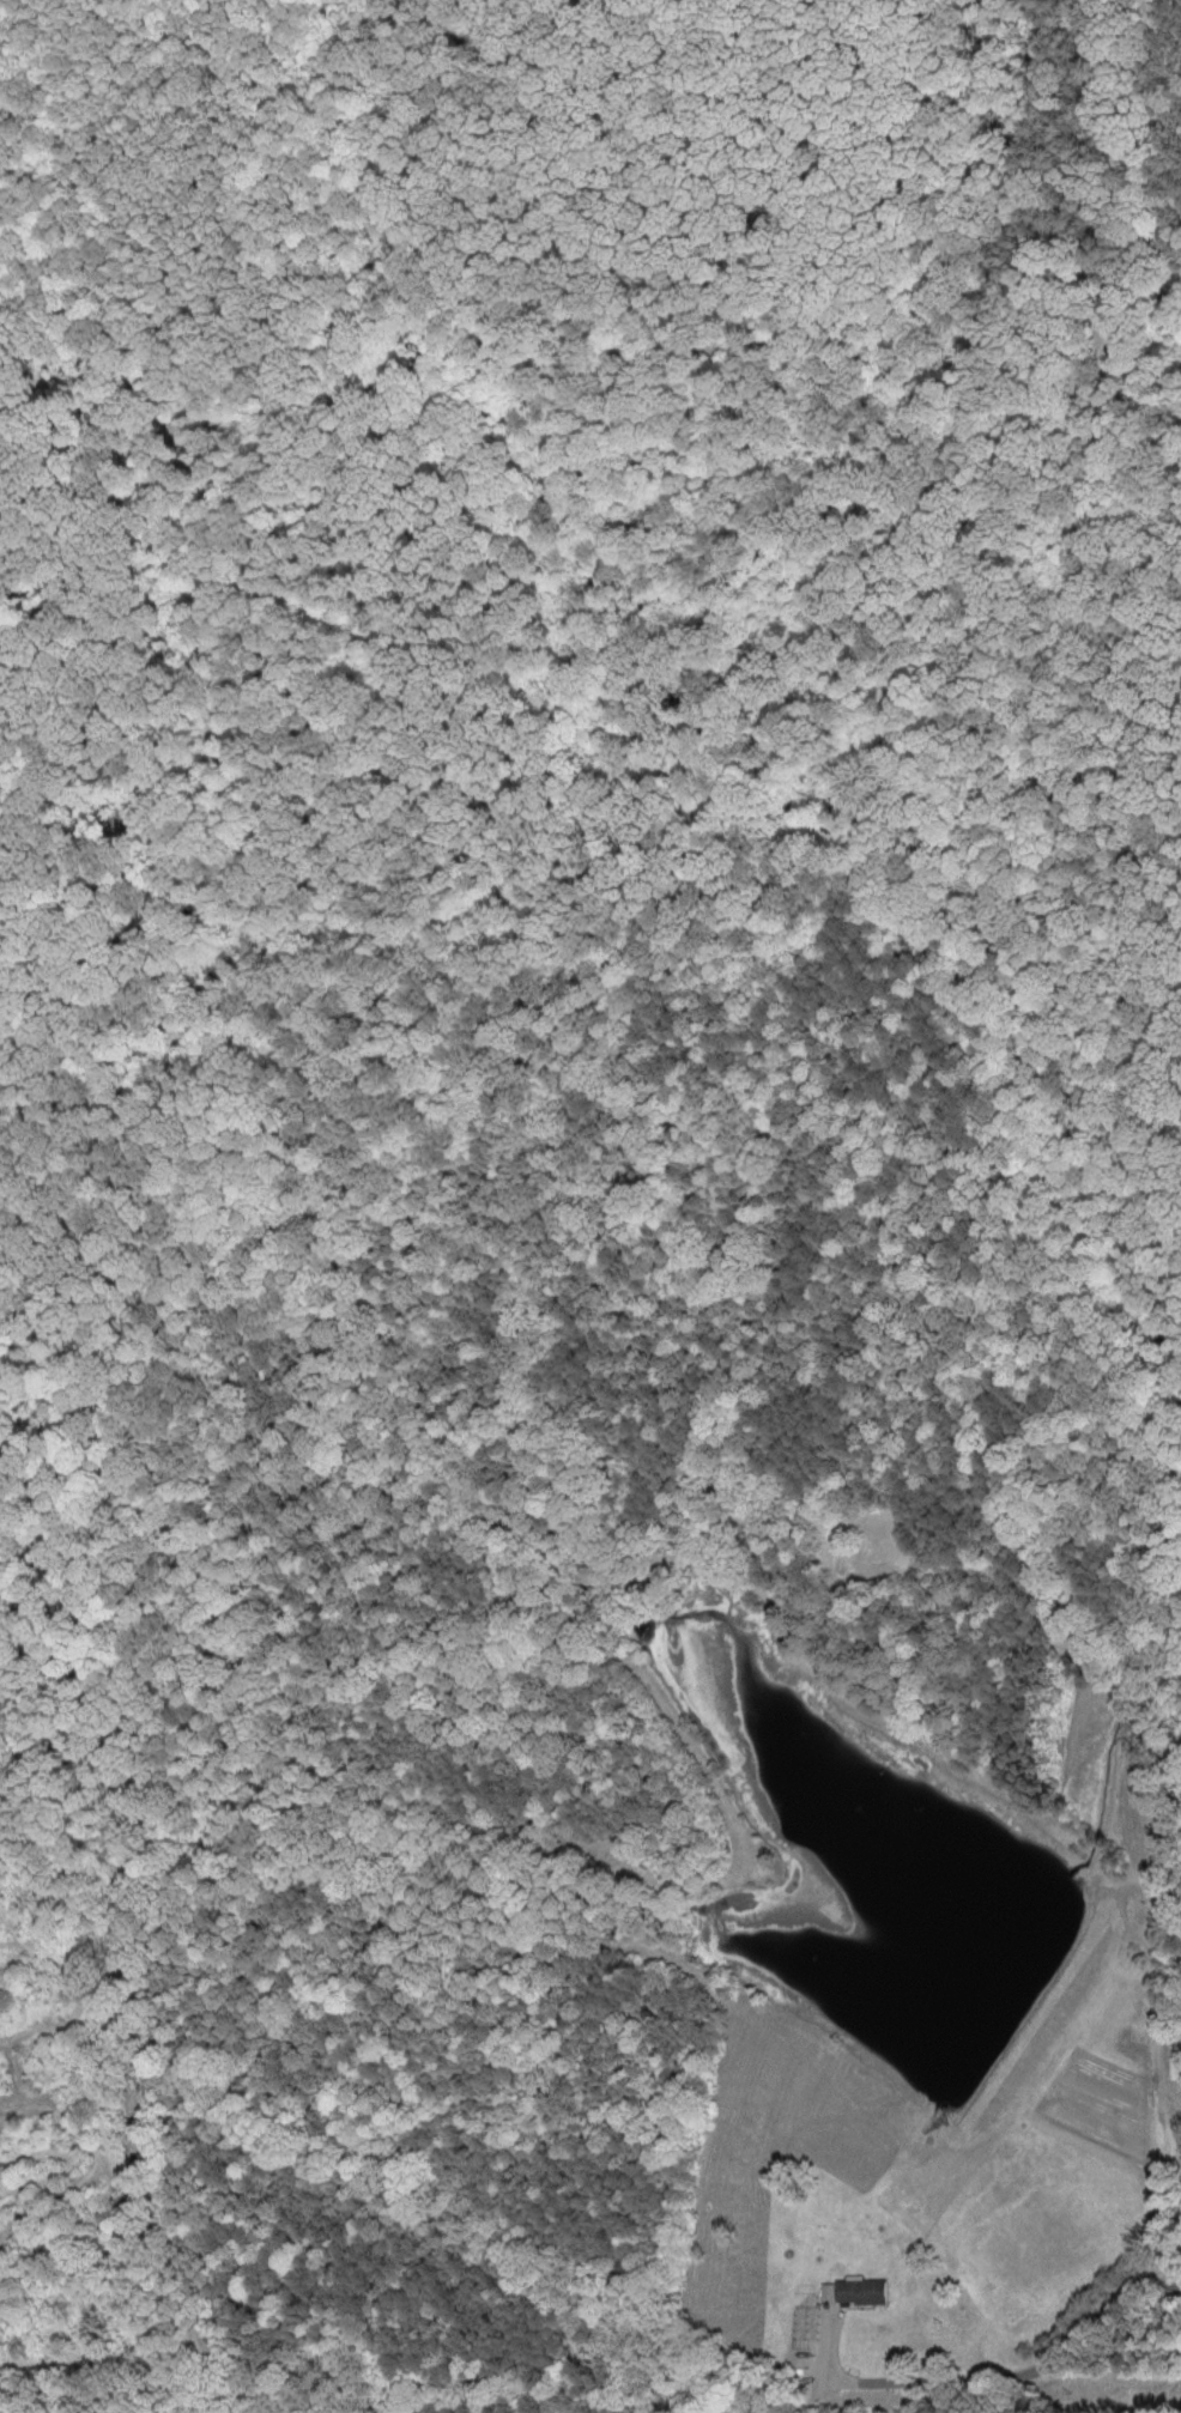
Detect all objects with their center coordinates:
building: (853, 2287)
road: (987, 2393)

